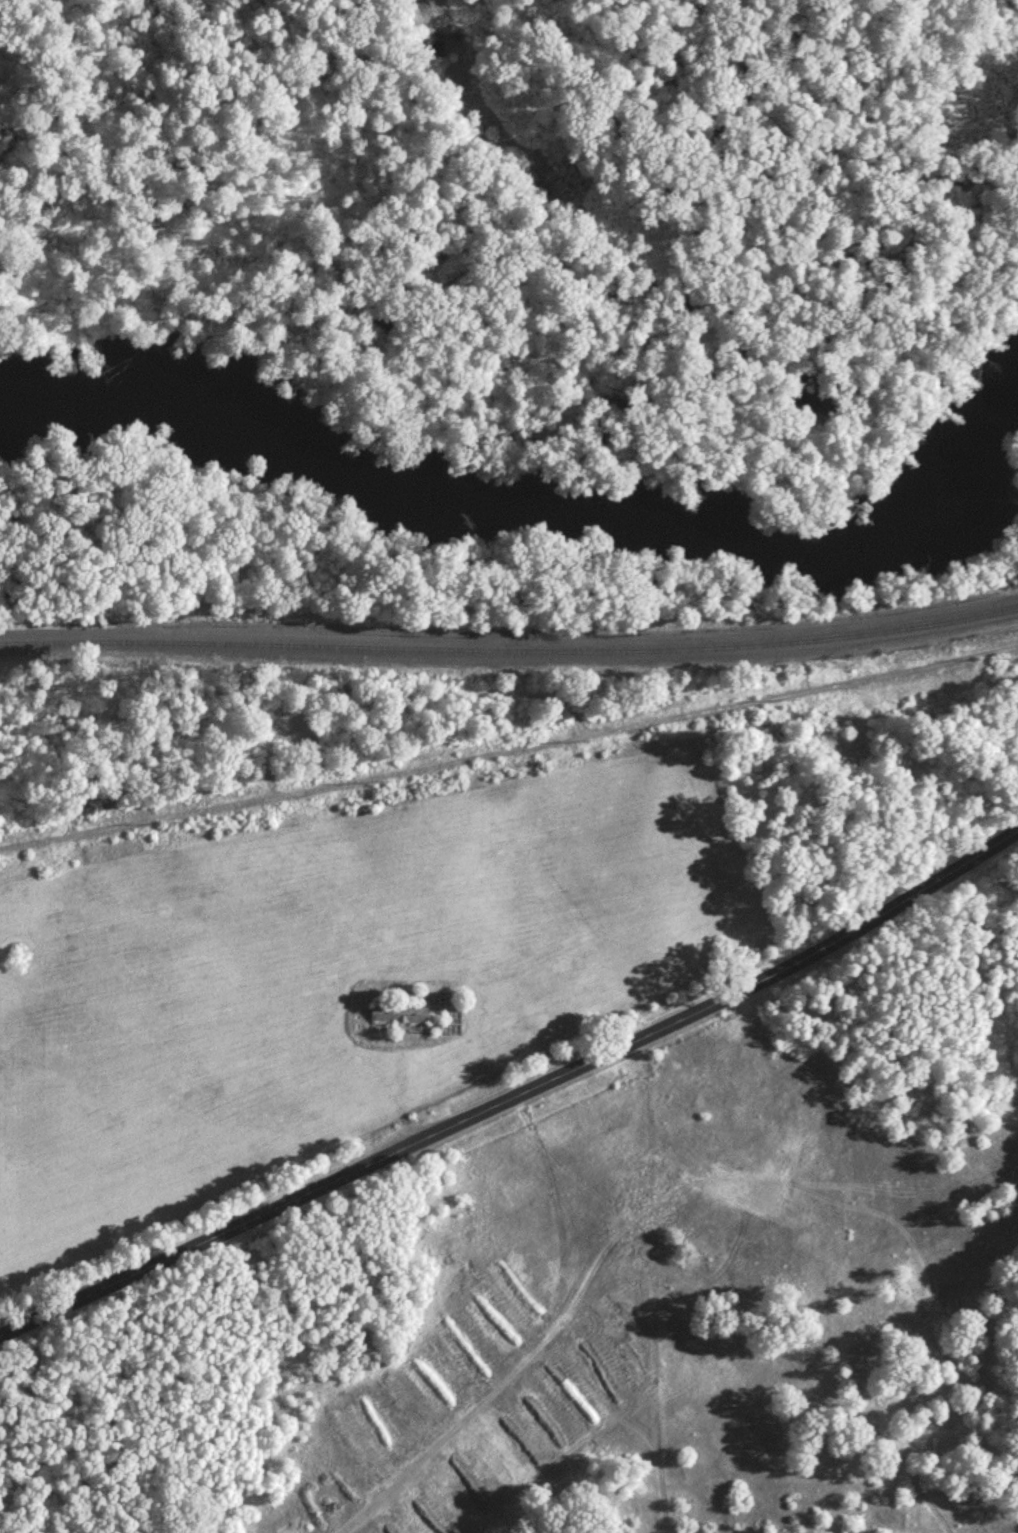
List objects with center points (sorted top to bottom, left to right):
river: (535, 519)
railway: (510, 650)
building: (396, 1012)
road: (515, 1089)
road: (404, 1471)

